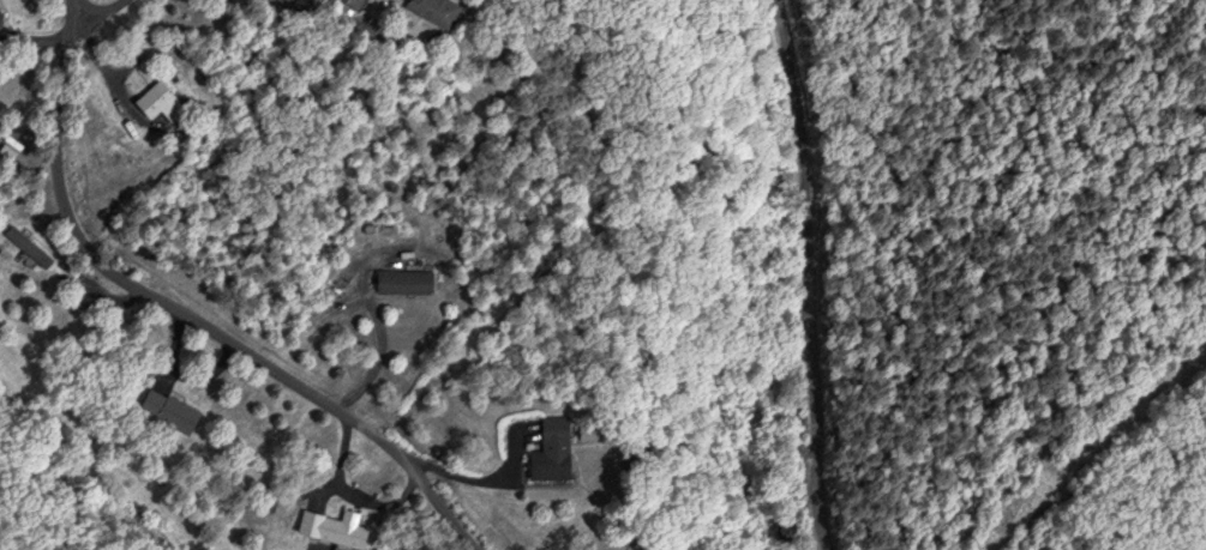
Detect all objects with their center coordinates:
building: (349, 2)
building: (432, 10)
building: (155, 101)
building: (24, 244)
road: (812, 273)
building: (401, 280)
road: (186, 314)
building: (164, 409)
building: (546, 449)
building: (329, 526)

